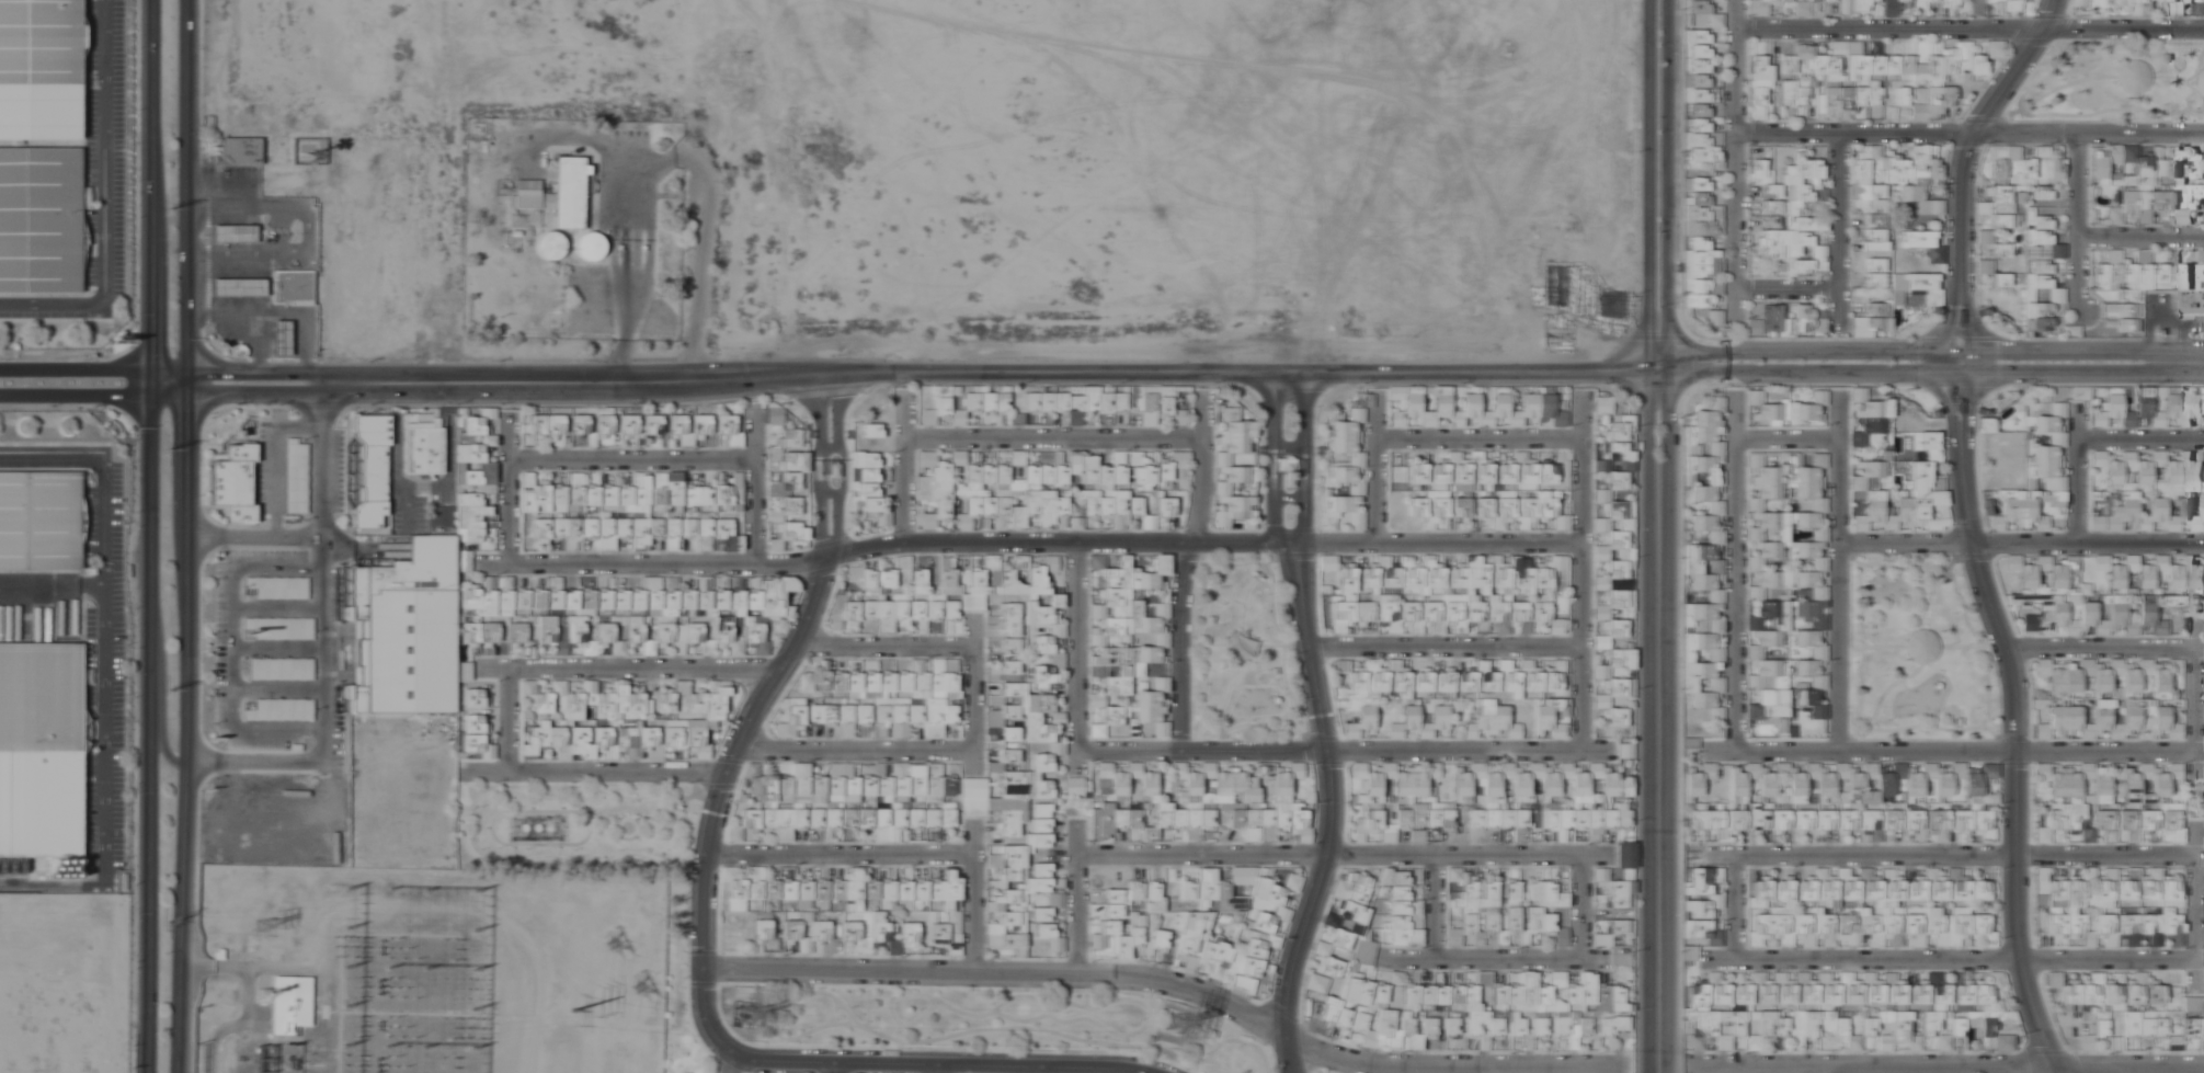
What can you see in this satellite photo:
park: (2113, 84)
gas station: (232, 229)
gas station: (237, 283)
park: (1245, 648)
park: (1919, 654)
park: (603, 858)
power tower: (614, 947)
power substation: (345, 974)
power tower: (639, 990)
park: (1014, 1020)

